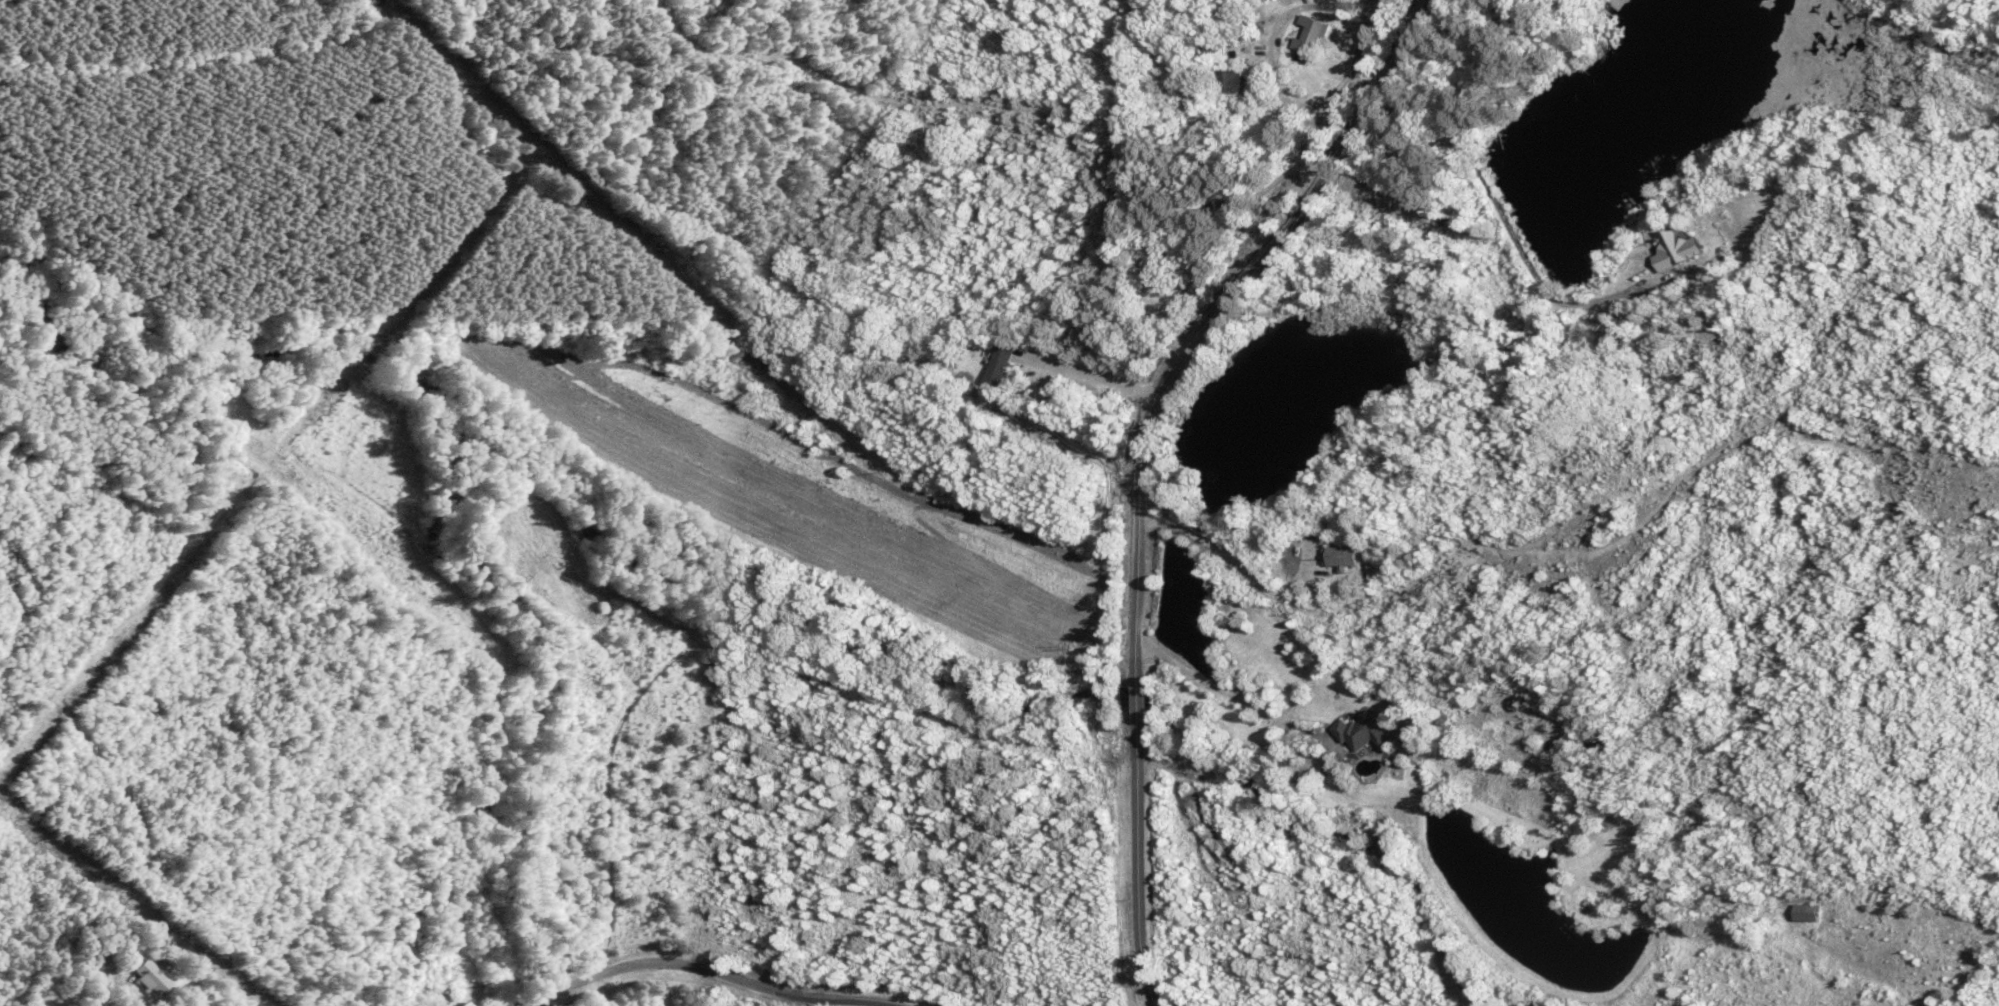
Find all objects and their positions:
building: (1308, 36)
road: (1268, 47)
building: (1226, 81)
road: (1504, 227)
building: (1156, 257)
road: (1212, 315)
building: (998, 362)
road: (1082, 376)
building: (1341, 556)
road: (1233, 564)
road: (1136, 710)
road: (1263, 715)
building: (1360, 731)
building: (1549, 739)
road: (1134, 878)
road: (717, 974)
building: (151, 975)
road: (109, 996)
building: (440, 1001)

